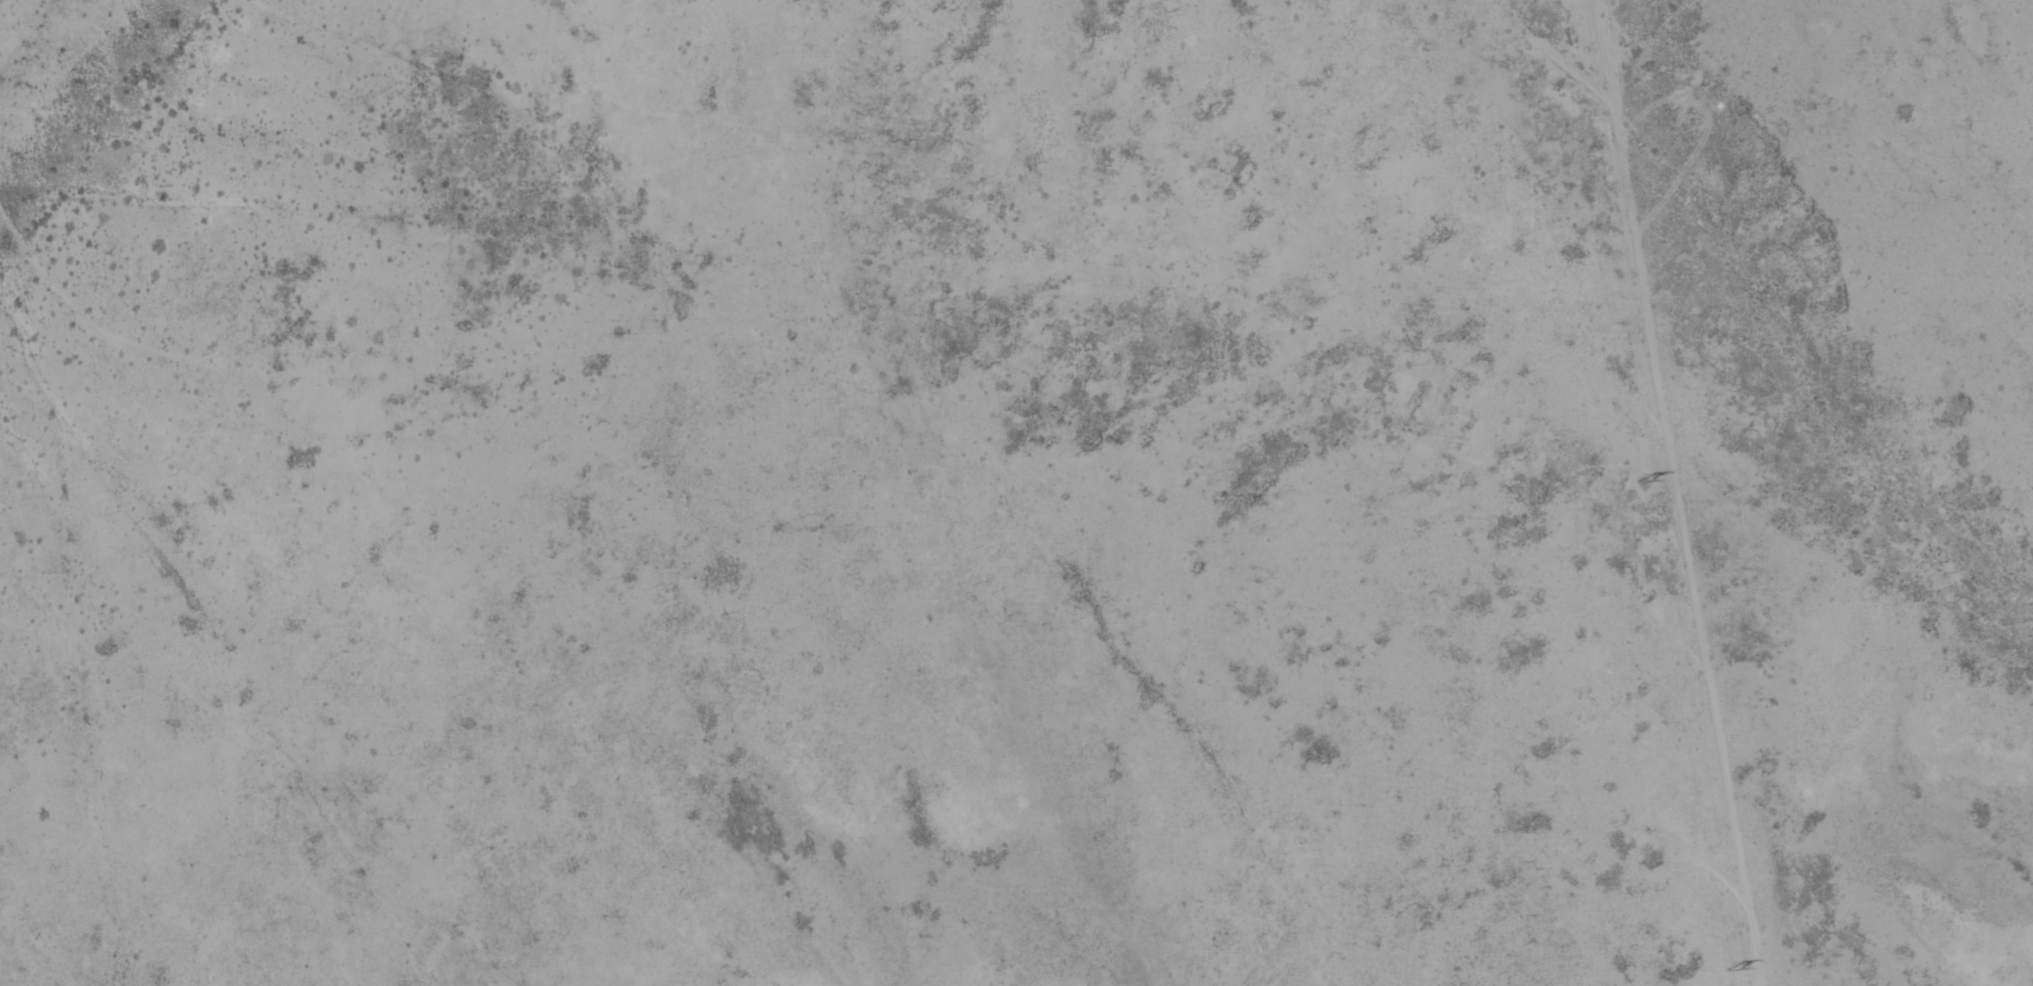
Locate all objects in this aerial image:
power tower: (1646, 480)
road: (1769, 493)
power tower: (1736, 973)

